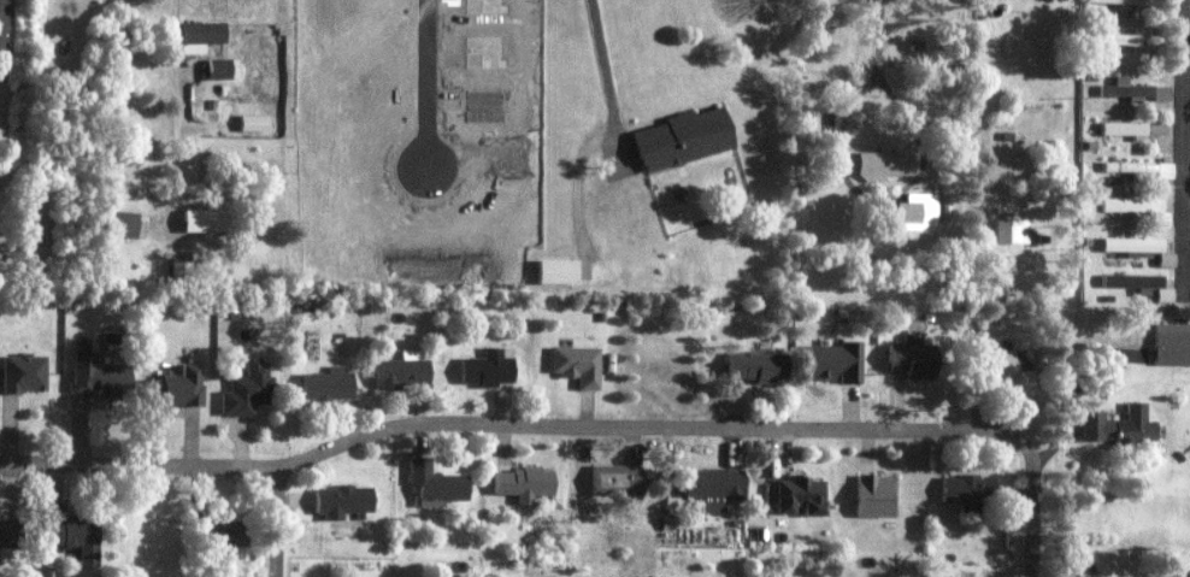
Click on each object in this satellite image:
building: (1117, 2)
building: (2, 25)
building: (200, 36)
building: (1112, 37)
building: (218, 69)
road: (601, 76)
building: (1126, 89)
road: (172, 111)
building: (253, 123)
building: (1126, 129)
building: (683, 139)
road: (1188, 145)
building: (885, 164)
building: (1143, 170)
building: (1139, 207)
building: (917, 212)
building: (206, 220)
building: (120, 224)
building: (1012, 231)
building: (1139, 248)
building: (558, 271)
building: (1133, 282)
building: (1172, 345)
building: (913, 359)
building: (835, 361)
building: (577, 364)
building: (755, 365)
building: (488, 367)
building: (1009, 367)
building: (403, 370)
building: (24, 371)
building: (100, 376)
building: (329, 382)
building: (179, 385)
building: (247, 385)
road: (516, 424)
building: (1119, 425)
building: (617, 478)
building: (524, 481)
building: (436, 483)
building: (713, 484)
building: (966, 488)
building: (800, 494)
building: (874, 494)
building: (343, 499)
road: (1031, 516)
road: (282, 520)
building: (8, 531)
building: (228, 531)
building: (75, 532)
building: (882, 576)

